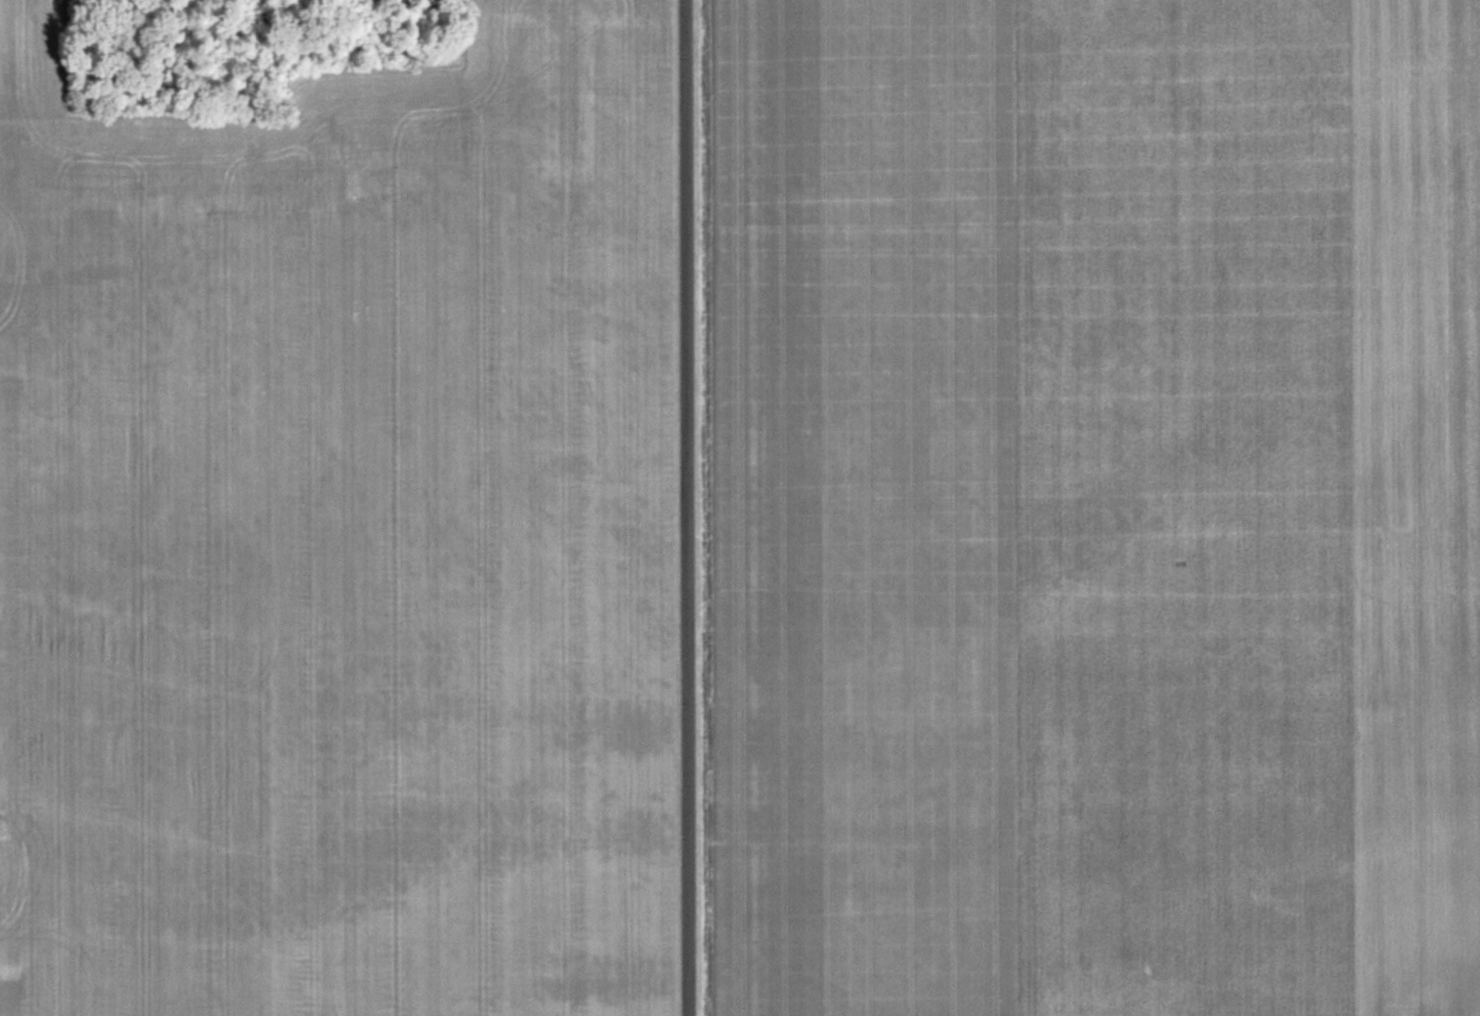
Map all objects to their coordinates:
road: (687, 508)

